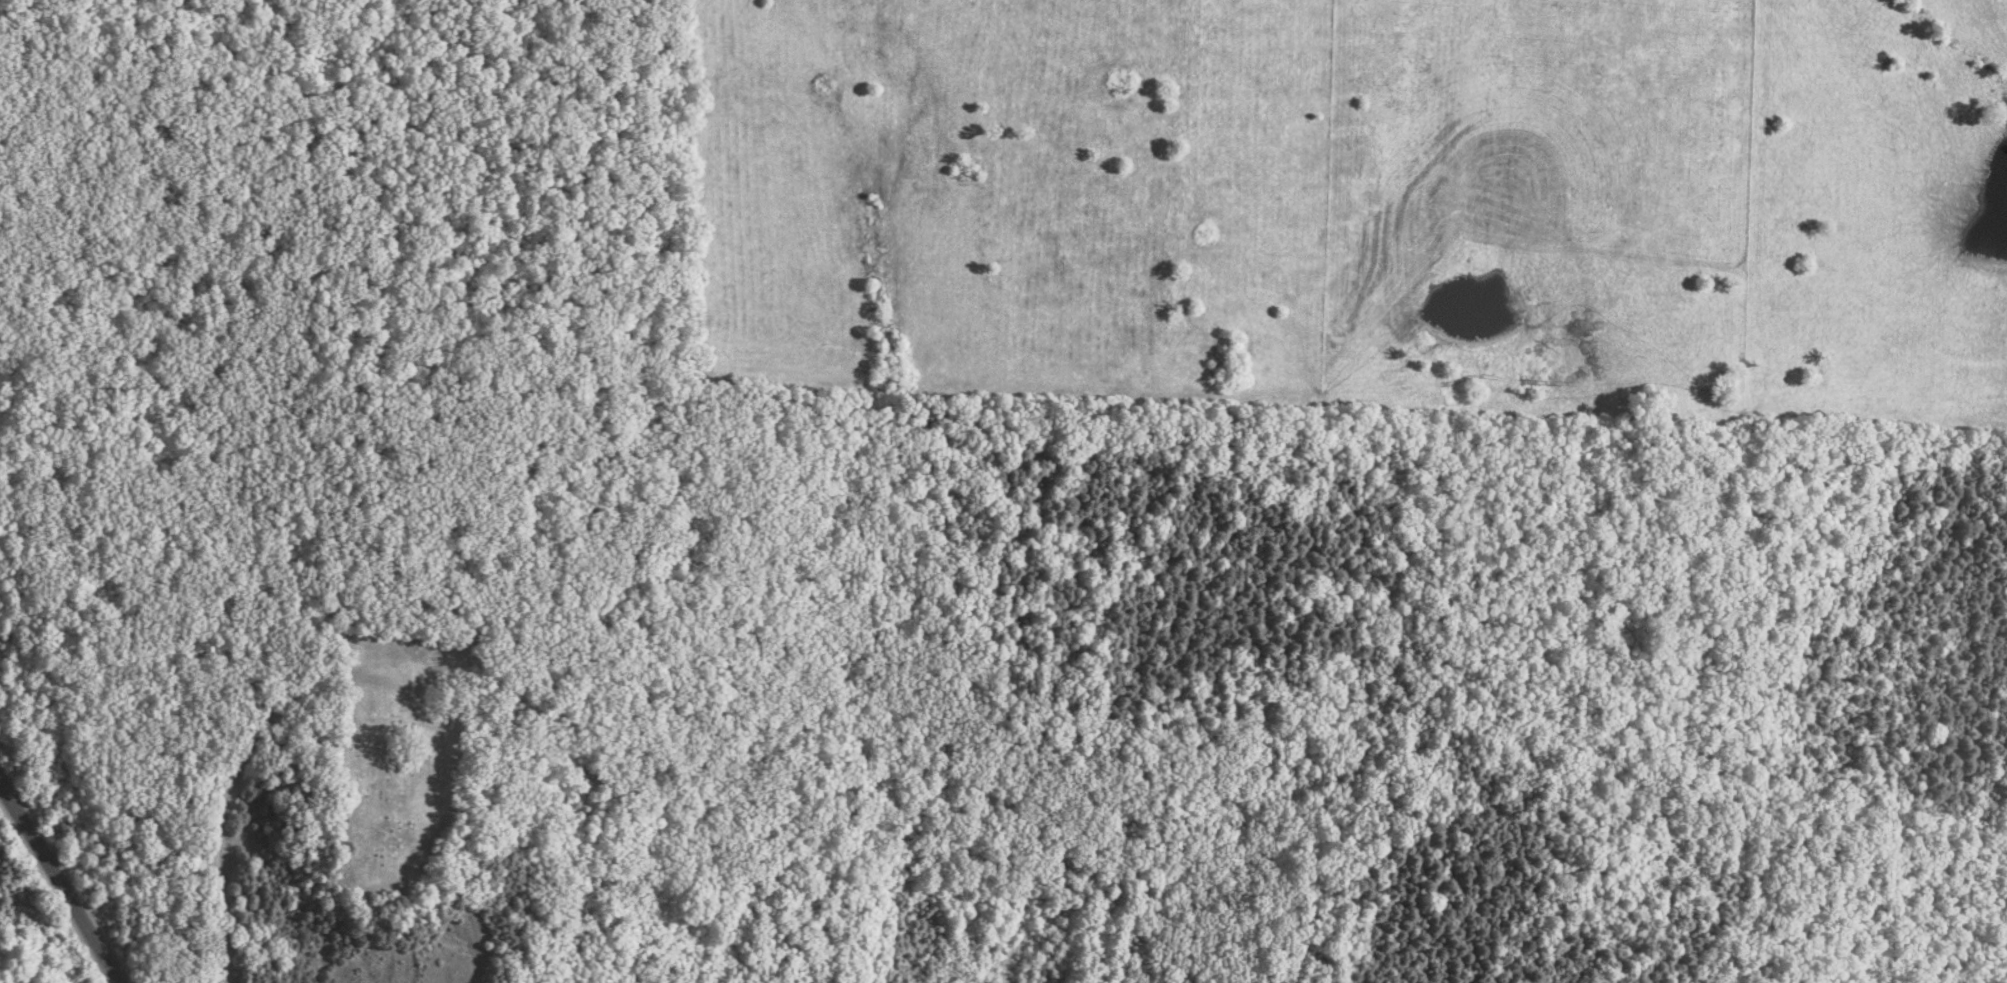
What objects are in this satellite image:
park: (391, 773)
road: (221, 811)
road: (61, 885)

